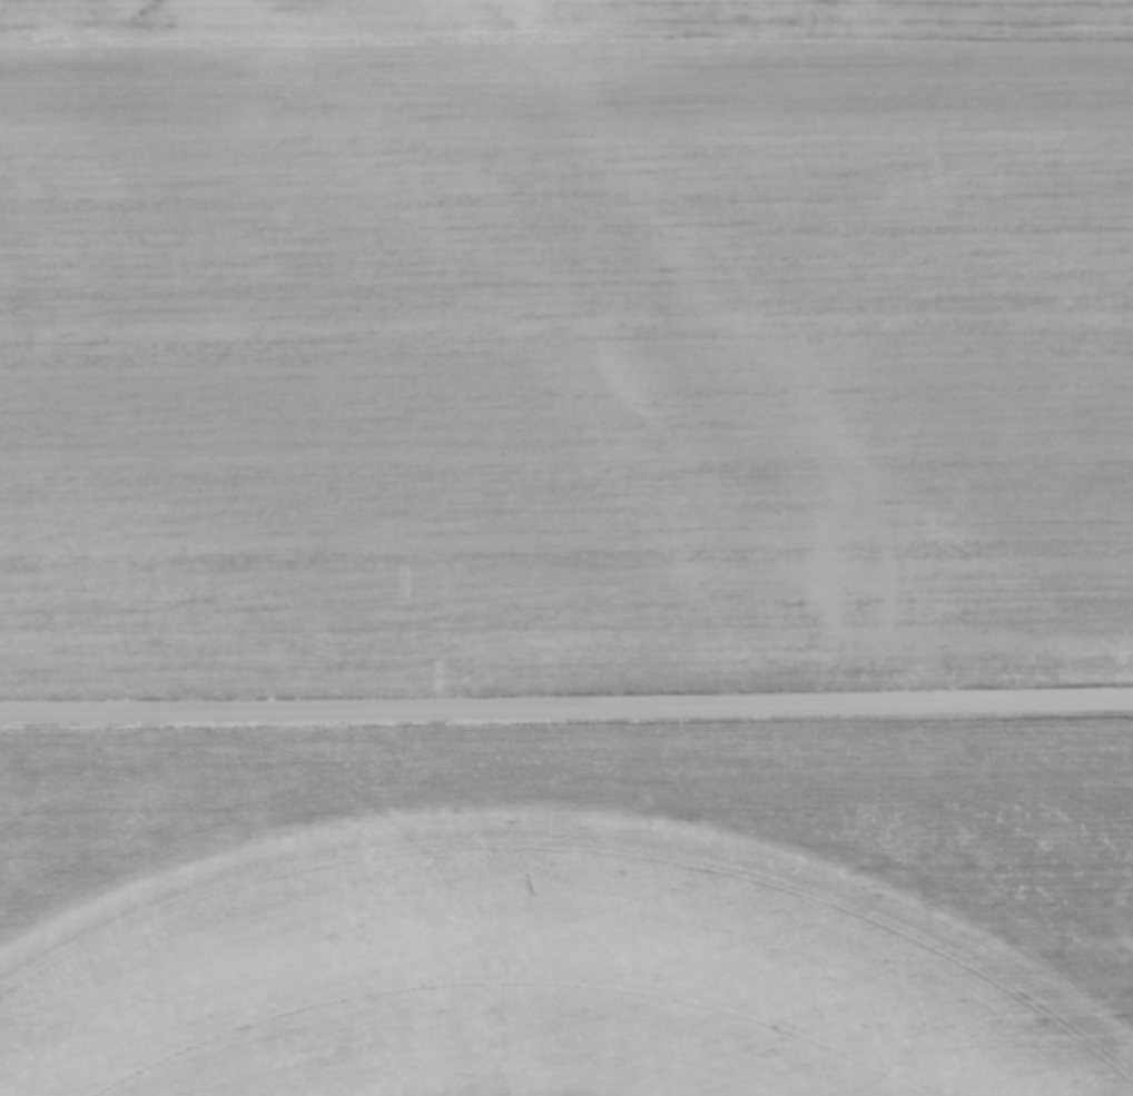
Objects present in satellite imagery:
crop: (564, 342)
road: (565, 703)
crop: (570, 910)

